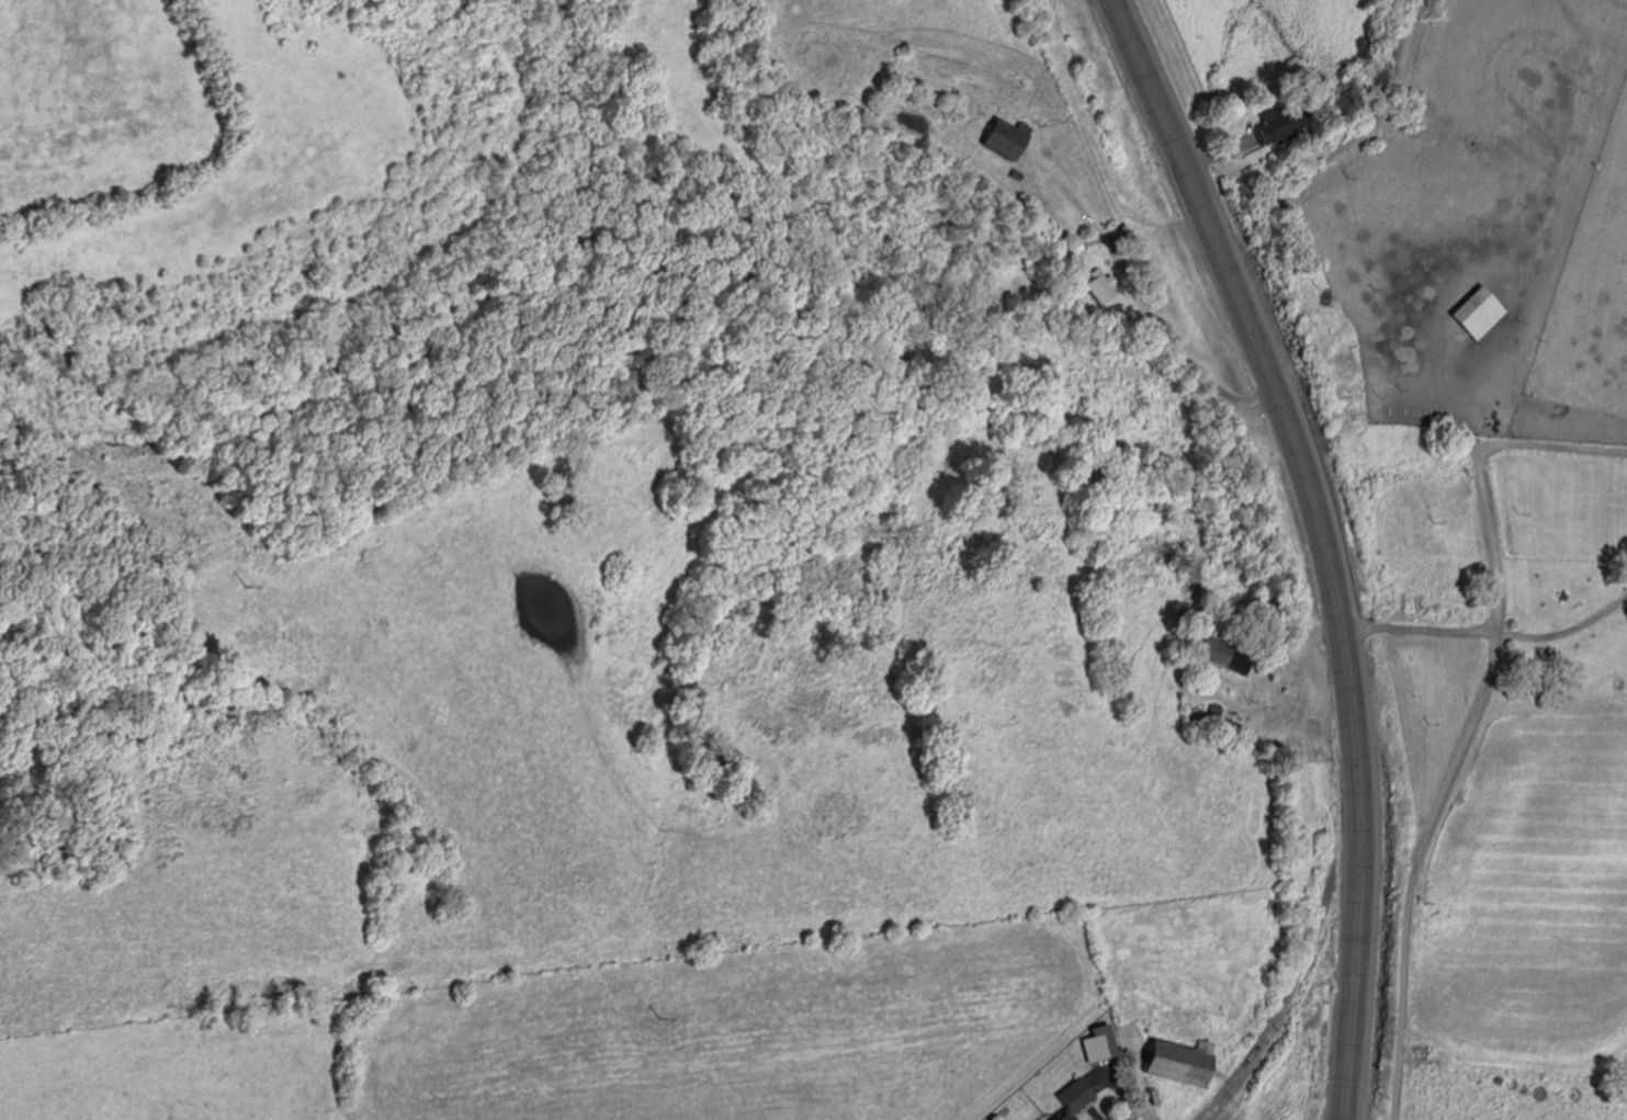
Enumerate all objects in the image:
building: (1279, 129)
building: (1009, 138)
building: (1104, 286)
building: (1483, 313)
road: (1323, 541)
road: (1483, 631)
building: (1229, 657)
road: (1476, 719)
power tower: (677, 1017)
building: (1105, 1037)
building: (1187, 1062)
road: (1239, 1083)
building: (1078, 1098)

